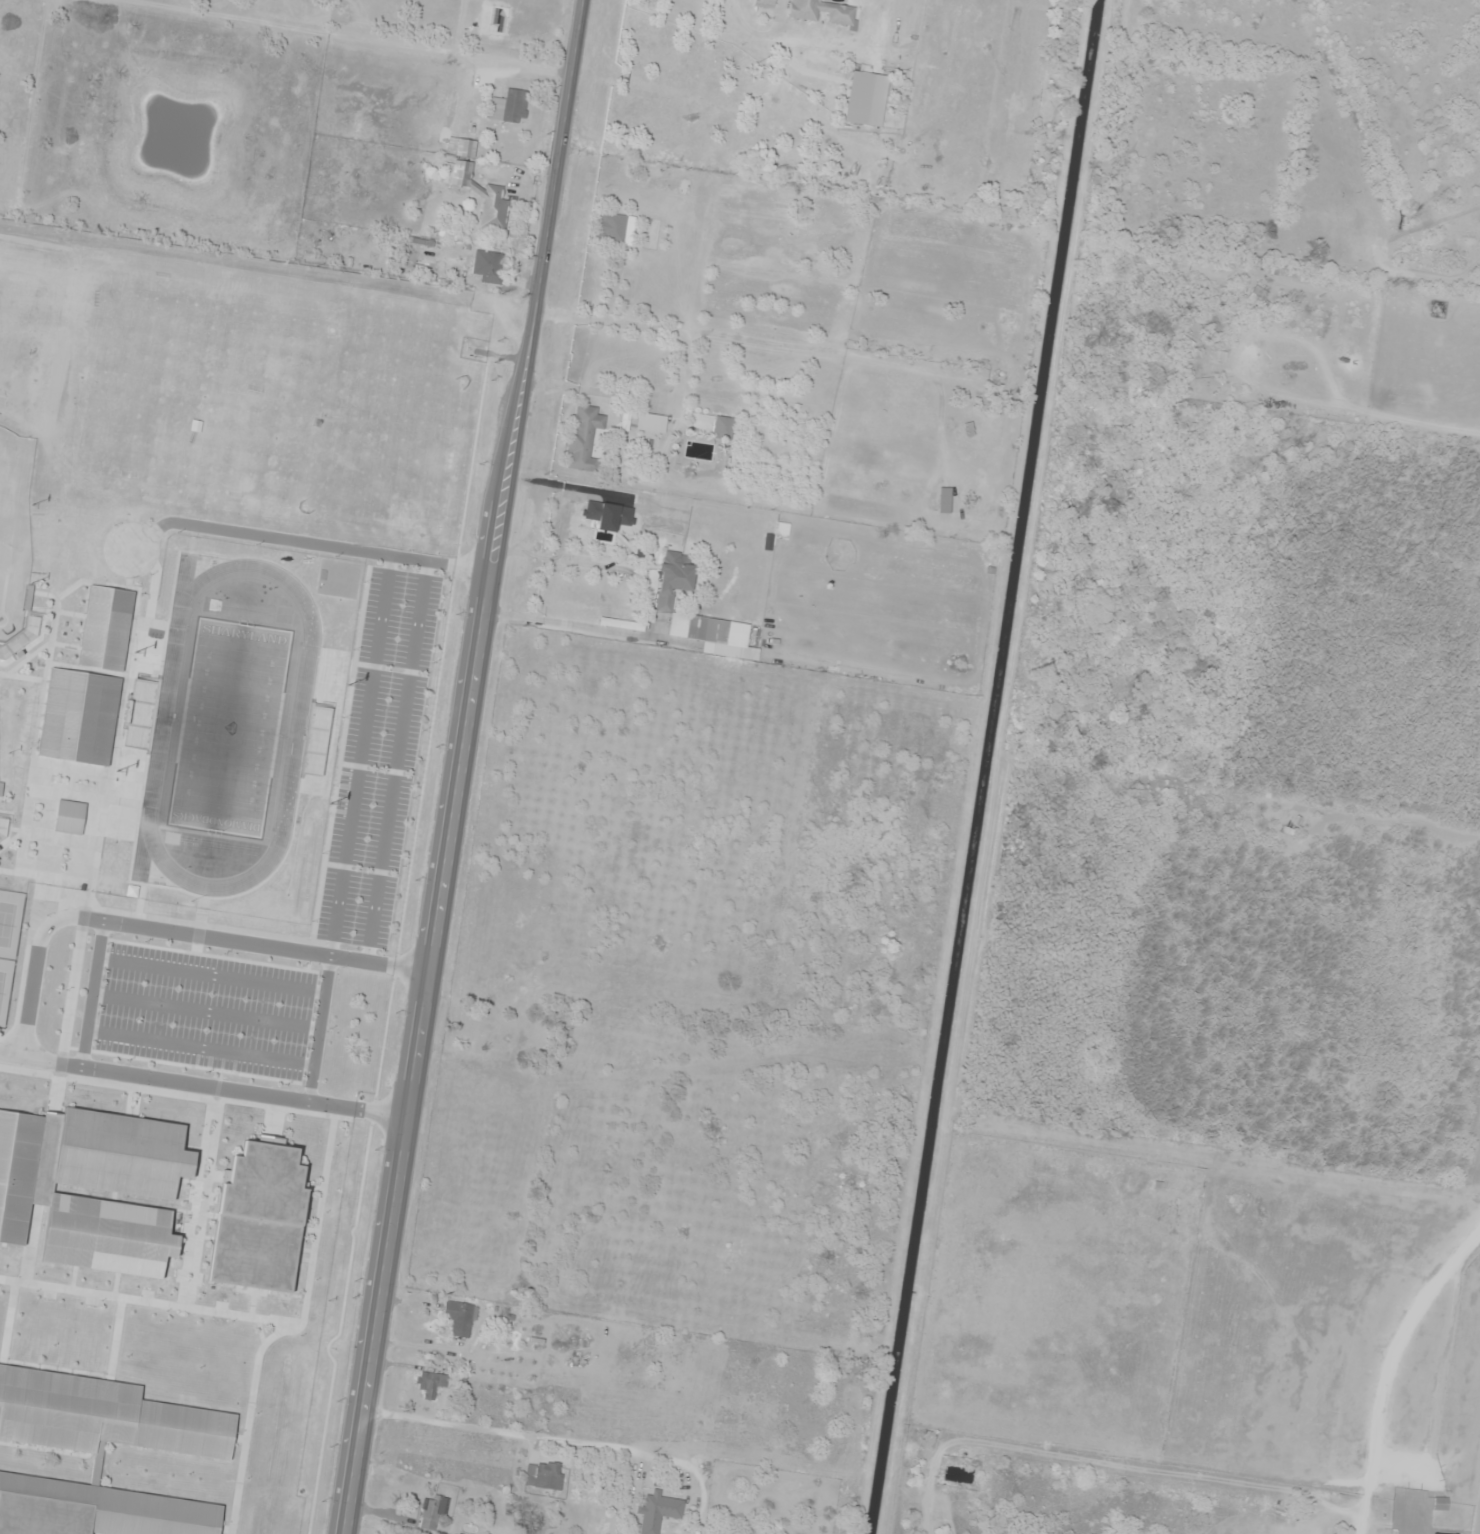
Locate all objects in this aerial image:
building: (764, 4)
building: (820, 11)
building: (510, 107)
building: (462, 148)
building: (670, 186)
building: (493, 195)
building: (617, 228)
building: (493, 268)
road: (1404, 278)
building: (626, 421)
building: (651, 423)
building: (710, 426)
building: (584, 440)
park: (14, 529)
road: (312, 544)
building: (622, 625)
building: (106, 629)
building: (79, 717)
park: (228, 728)
road: (363, 756)
road: (398, 762)
road: (465, 767)
building: (70, 817)
road: (202, 917)
park: (8, 945)
road: (212, 976)
road: (32, 988)
road: (94, 994)
road: (207, 1013)
road: (320, 1029)
road: (201, 1049)
road: (12, 1053)
road: (592, 1080)
building: (92, 1187)
building: (259, 1218)
building: (460, 1319)
road: (1385, 1366)
building: (431, 1384)
building: (94, 1456)
building: (544, 1476)
building: (1440, 1505)
building: (658, 1512)

